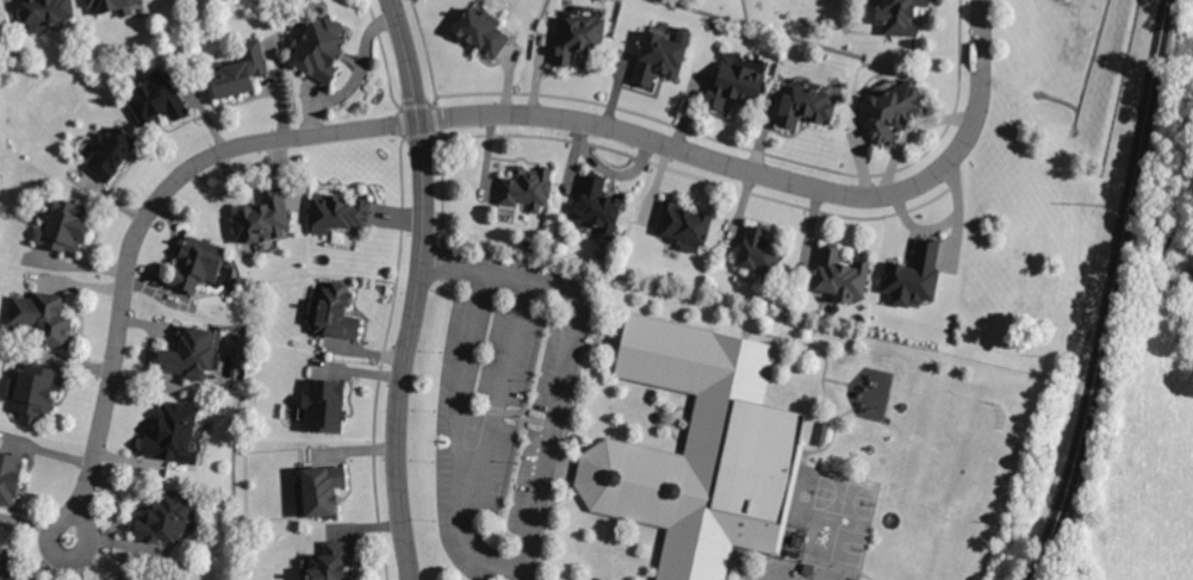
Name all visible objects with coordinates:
building: (111, 6)
building: (45, 13)
building: (902, 14)
building: (486, 30)
building: (579, 36)
building: (321, 48)
building: (666, 54)
building: (242, 71)
building: (739, 80)
building: (159, 99)
building: (806, 102)
building: (894, 106)
road: (397, 121)
building: (113, 151)
road: (771, 173)
road: (402, 185)
building: (527, 187)
building: (601, 206)
building: (341, 212)
building: (265, 217)
building: (69, 224)
building: (688, 224)
road: (137, 233)
building: (201, 262)
building: (843, 273)
building: (915, 275)
road: (422, 288)
road: (1111, 293)
building: (333, 311)
building: (44, 316)
road: (385, 341)
building: (194, 351)
road: (566, 362)
road: (502, 385)
building: (35, 391)
building: (324, 403)
building: (178, 434)
road: (459, 434)
building: (701, 449)
building: (7, 480)
building: (318, 485)
road: (378, 517)
building: (167, 518)
road: (54, 556)
building: (328, 559)
building: (2, 561)
road: (793, 573)
building: (144, 578)

